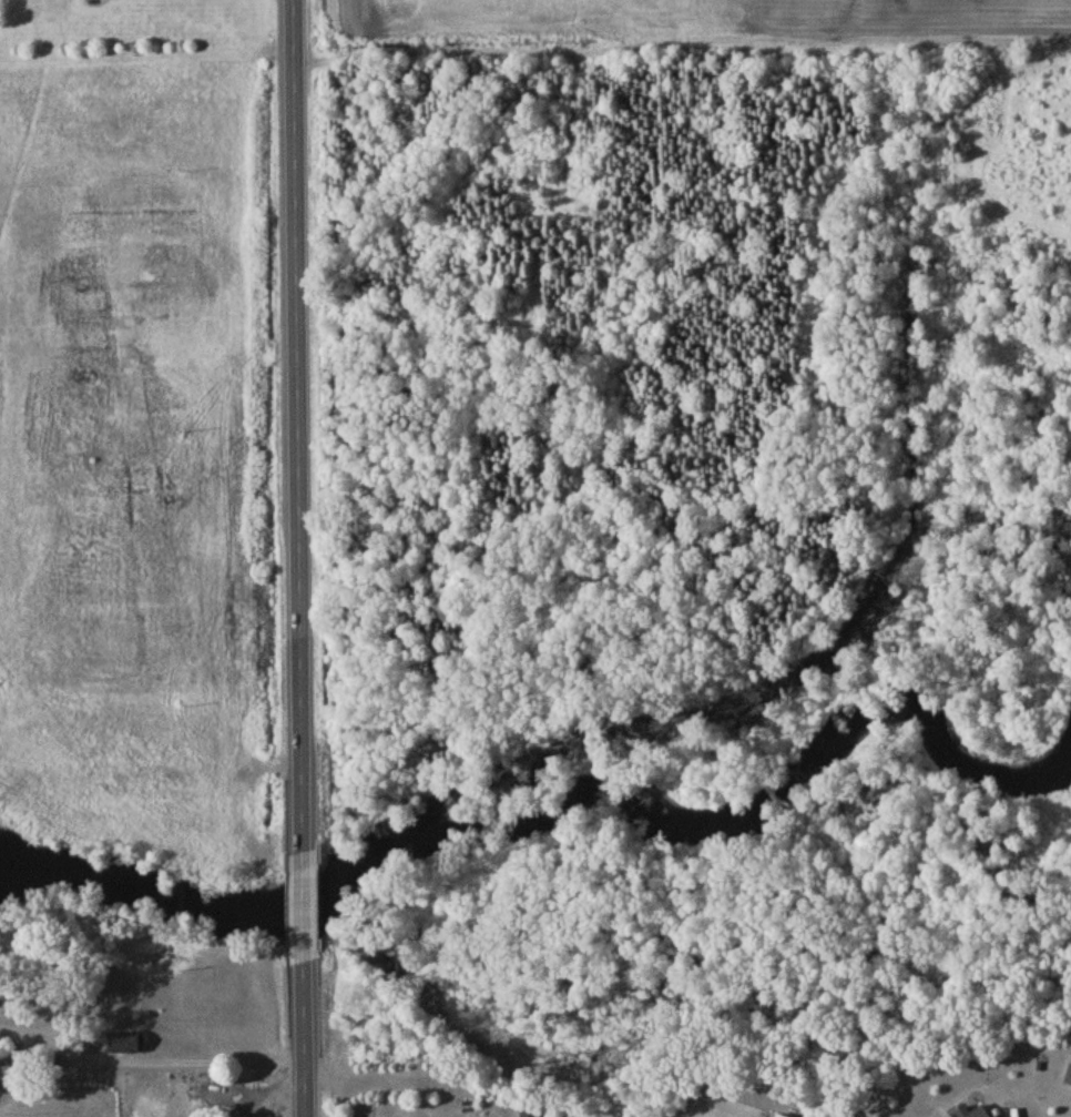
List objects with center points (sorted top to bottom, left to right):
road: (299, 558)
building: (127, 1046)
road: (151, 1065)
building: (1069, 1080)
building: (983, 1114)
building: (529, 1116)

